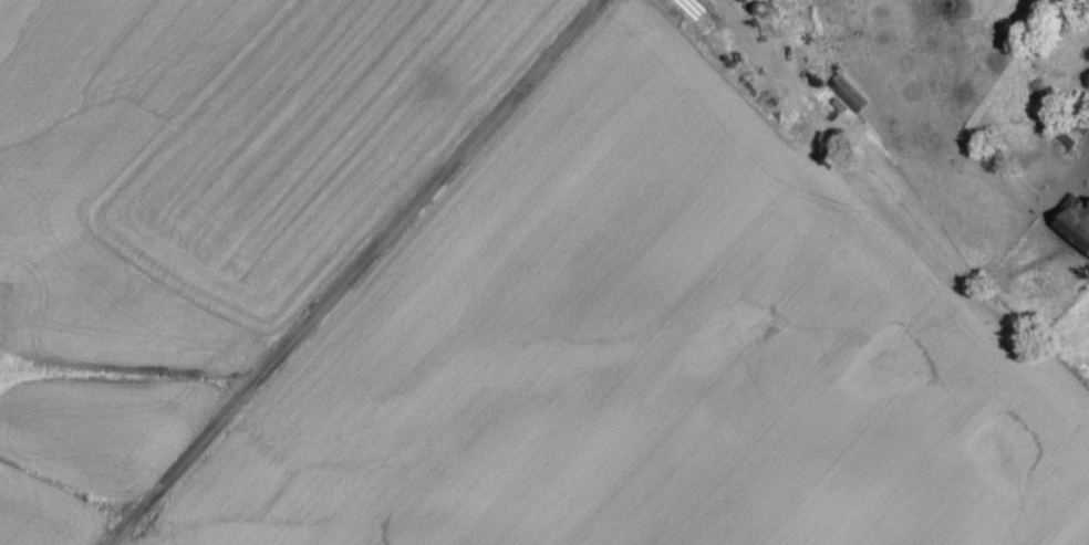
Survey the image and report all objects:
road: (741, 32)
building: (1070, 60)
building: (848, 99)
building: (1069, 139)
building: (1076, 231)
road: (356, 273)

